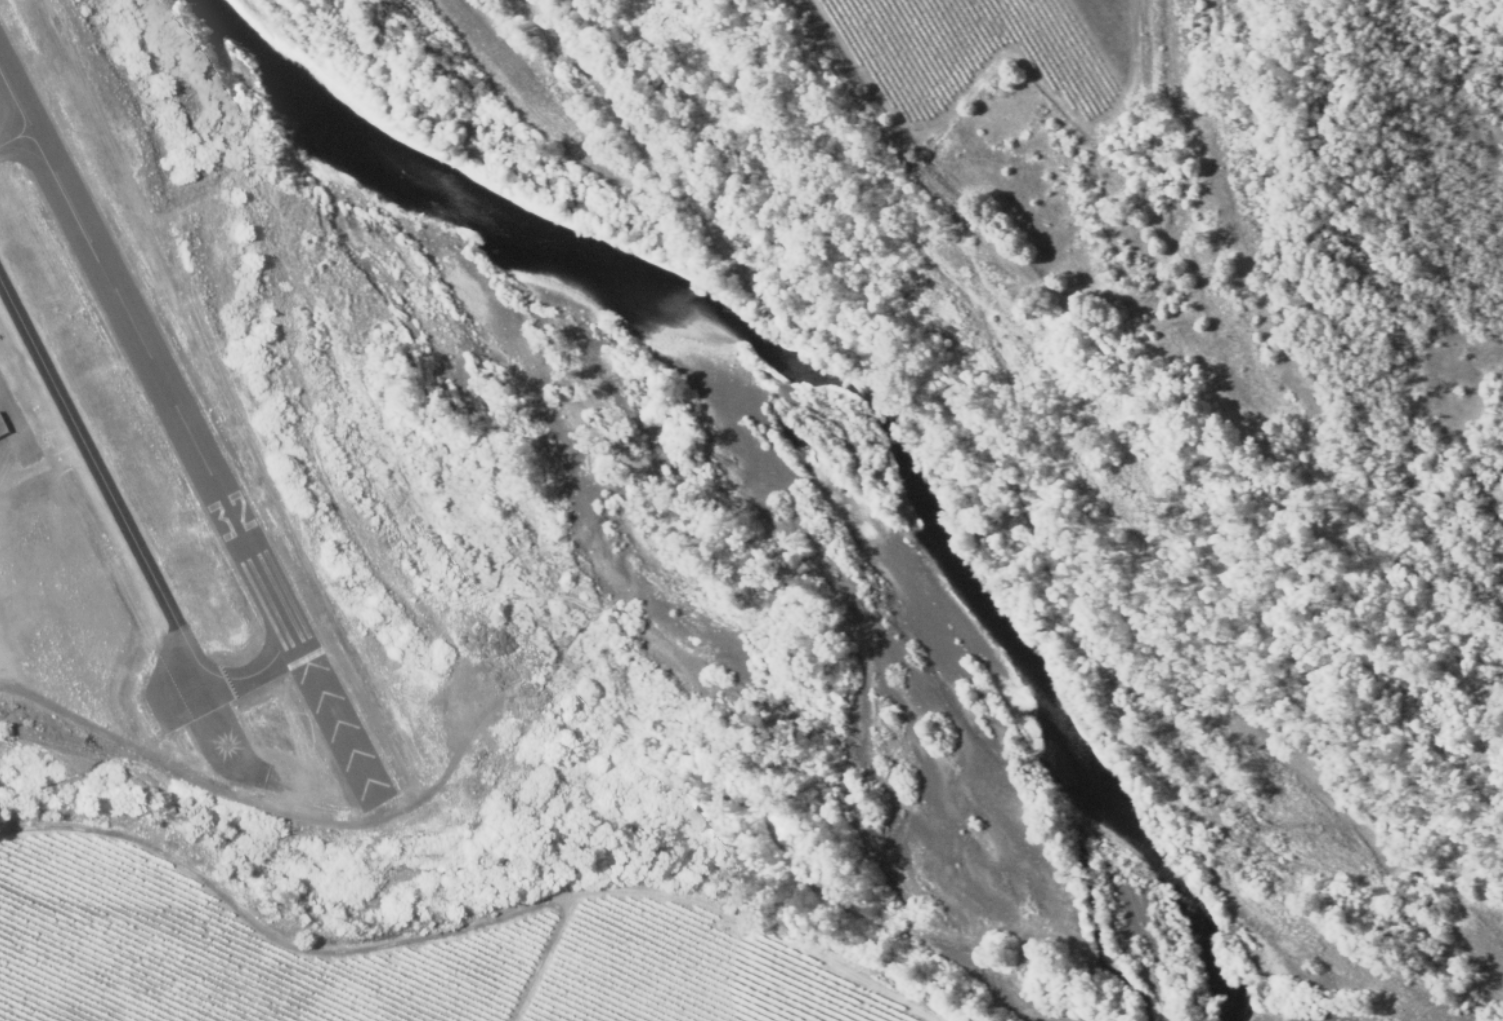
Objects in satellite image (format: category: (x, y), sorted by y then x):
airport taxiway: (20, 144)
airport runway: (115, 280)
river: (851, 395)
airport hangar: (1, 429)
building: (1, 429)
airport apron: (14, 431)
airport: (163, 491)
airport taxiway: (223, 706)

